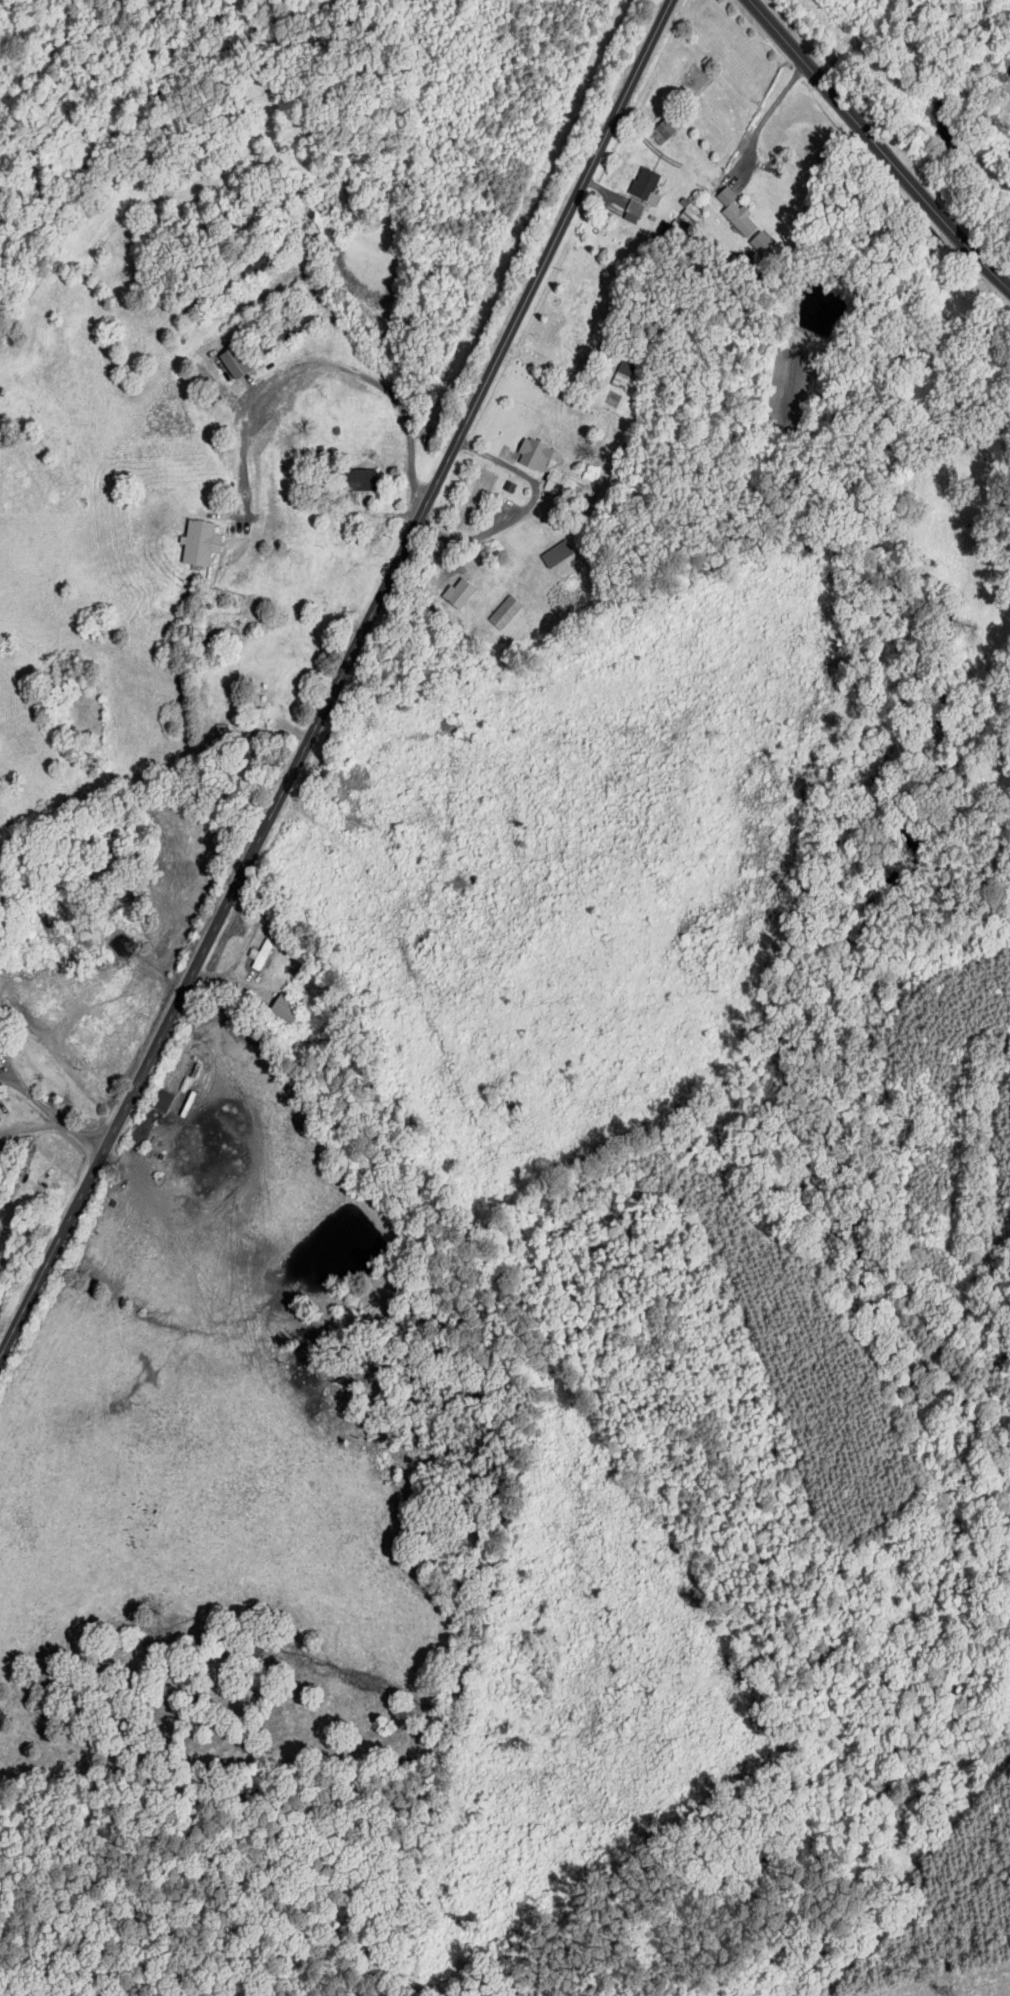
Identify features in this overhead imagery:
building: (665, 128)
road: (877, 150)
building: (644, 185)
building: (632, 210)
building: (689, 212)
building: (735, 212)
building: (760, 242)
building: (231, 361)
building: (622, 374)
building: (532, 454)
building: (358, 479)
building: (199, 542)
building: (555, 553)
building: (457, 593)
building: (504, 612)
road: (339, 679)
building: (260, 718)
building: (259, 954)
building: (283, 1010)
building: (161, 1100)
building: (139, 1131)
power tower: (950, 1994)

